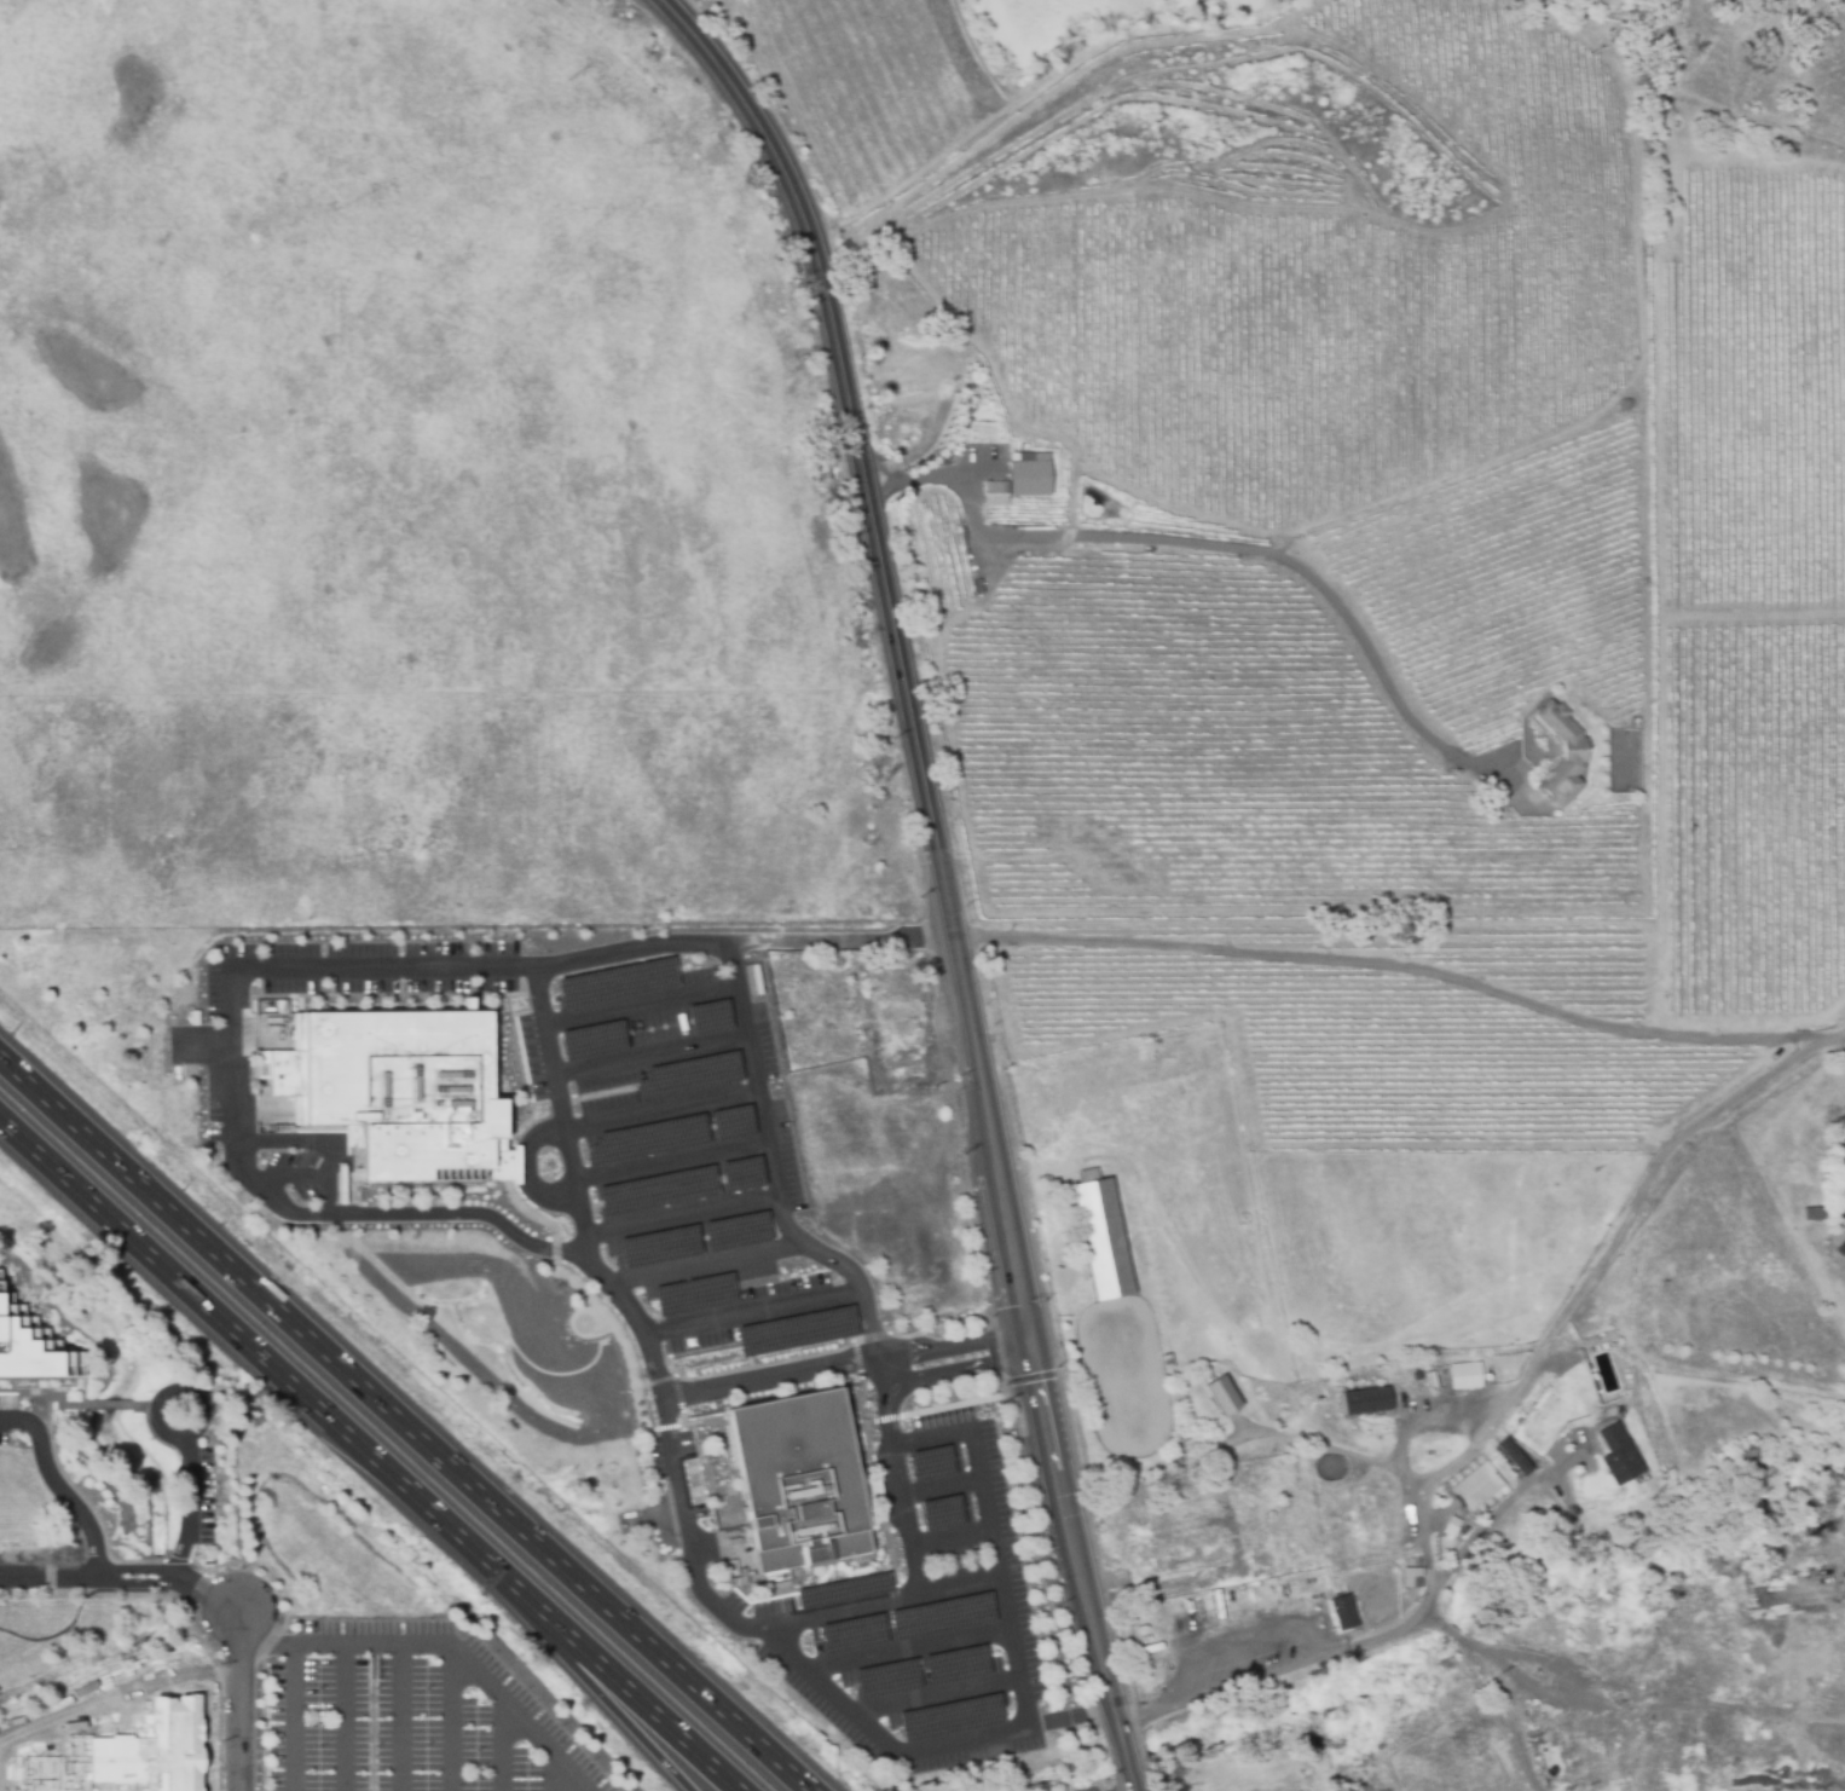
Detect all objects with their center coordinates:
road: (874, 466)
building: (1020, 478)
road: (1429, 486)
road: (880, 491)
road: (1225, 548)
road: (898, 645)
building: (1562, 756)
road: (800, 762)
road: (1393, 965)
building: (752, 978)
building: (615, 982)
road: (638, 1006)
building: (708, 1017)
road: (1832, 1036)
building: (591, 1039)
road: (648, 1059)
building: (686, 1076)
building: (392, 1093)
road: (556, 1107)
road: (659, 1114)
building: (731, 1122)
building: (646, 1139)
road: (669, 1162)
building: (741, 1173)
road: (774, 1178)
building: (657, 1190)
building: (1812, 1212)
road: (359, 1214)
road: (681, 1220)
road: (112, 1224)
building: (735, 1231)
building: (1100, 1235)
building: (658, 1246)
road: (565, 1247)
road: (700, 1265)
building: (693, 1294)
road: (747, 1315)
building: (794, 1330)
road: (1037, 1346)
road: (1548, 1346)
building: (31, 1348)
road: (955, 1350)
road: (960, 1374)
building: (1463, 1375)
road: (878, 1379)
road: (996, 1382)
road: (767, 1385)
building: (1221, 1394)
building: (1365, 1400)
road: (407, 1422)
road: (183, 1439)
road: (983, 1455)
building: (1514, 1455)
building: (1616, 1455)
building: (930, 1463)
road: (386, 1473)
building: (798, 1480)
building: (1473, 1484)
road: (939, 1485)
road: (58, 1489)
road: (891, 1494)
building: (939, 1513)
road: (950, 1538)
building: (1409, 1575)
road: (1083, 1576)
building: (841, 1590)
road: (210, 1596)
road: (1012, 1605)
building: (1341, 1612)
building: (941, 1616)
road: (832, 1617)
road: (64, 1630)
building: (851, 1634)
road: (447, 1646)
road: (1480, 1651)
road: (907, 1652)
building: (955, 1664)
building: (885, 1679)
road: (937, 1699)
road: (623, 1704)
road: (641, 1704)
parking lot: (412, 1712)
road: (287, 1718)
road: (335, 1718)
road: (399, 1718)
road: (451, 1718)
building: (948, 1718)
road: (498, 1743)
building: (151, 1751)
building: (53, 1766)
road: (550, 1770)

